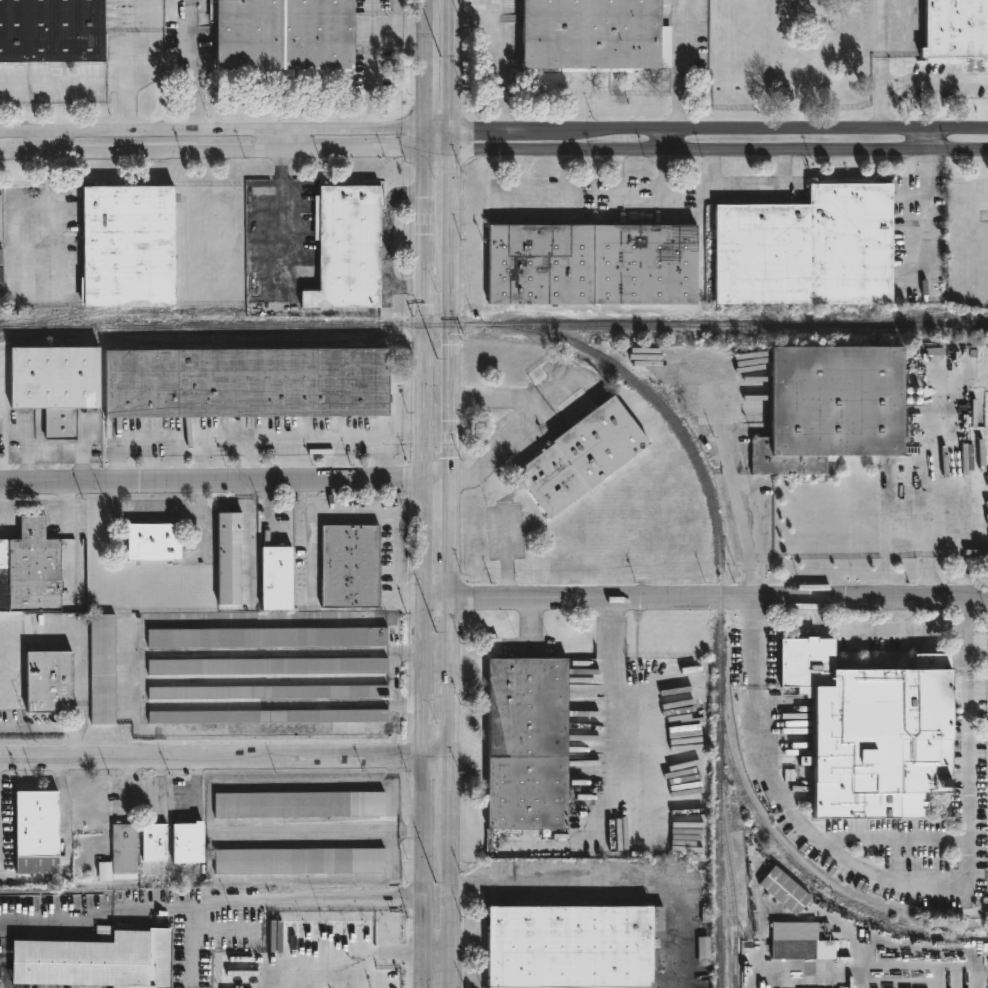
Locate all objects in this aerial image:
road: (422, 10)
building: (51, 29)
building: (957, 30)
building: (282, 34)
building: (593, 34)
road: (396, 40)
road: (880, 41)
road: (505, 65)
road: (371, 66)
road: (454, 66)
road: (194, 67)
road: (677, 68)
road: (145, 70)
road: (422, 76)
road: (63, 82)
road: (908, 82)
road: (438, 133)
road: (210, 134)
road: (720, 134)
road: (422, 141)
road: (670, 142)
road: (926, 142)
road: (285, 143)
road: (50, 144)
road: (704, 151)
road: (211, 152)
road: (569, 175)
road: (611, 175)
road: (749, 187)
road: (926, 189)
road: (281, 198)
road: (590, 199)
road: (388, 239)
building: (128, 245)
building: (348, 247)
building: (810, 248)
building: (594, 263)
road: (925, 263)
railway: (895, 309)
railway: (91, 312)
railway: (744, 323)
railway: (206, 342)
railway: (631, 373)
building: (247, 382)
building: (55, 383)
building: (827, 406)
road: (524, 426)
road: (250, 439)
building: (584, 456)
road: (199, 460)
road: (249, 460)
road: (226, 482)
road: (199, 498)
building: (986, 498)
road: (737, 505)
road: (392, 511)
road: (120, 514)
road: (177, 514)
road: (906, 525)
road: (200, 534)
road: (248, 541)
building: (153, 542)
road: (962, 546)
building: (229, 557)
road: (452, 560)
building: (351, 566)
road: (423, 568)
building: (30, 569)
building: (277, 578)
road: (705, 586)
road: (212, 619)
road: (905, 631)
road: (967, 631)
building: (267, 638)
road: (755, 638)
building: (267, 667)
building: (102, 669)
road: (83, 679)
road: (396, 679)
building: (48, 682)
building: (268, 693)
road: (635, 697)
building: (614, 709)
building: (267, 717)
road: (52, 726)
road: (280, 731)
building: (877, 733)
building: (529, 743)
road: (225, 756)
building: (299, 805)
road: (63, 815)
building: (37, 833)
road: (890, 839)
building: (154, 842)
building: (189, 844)
building: (124, 852)
building: (299, 861)
railway: (806, 870)
building: (105, 872)
road: (36, 879)
road: (613, 884)
road: (905, 885)
building: (782, 890)
railway: (732, 899)
road: (310, 902)
road: (195, 908)
road: (56, 915)
railway: (975, 928)
building: (799, 941)
building: (575, 945)
building: (704, 950)
road: (436, 955)
building: (96, 960)
road: (367, 962)

